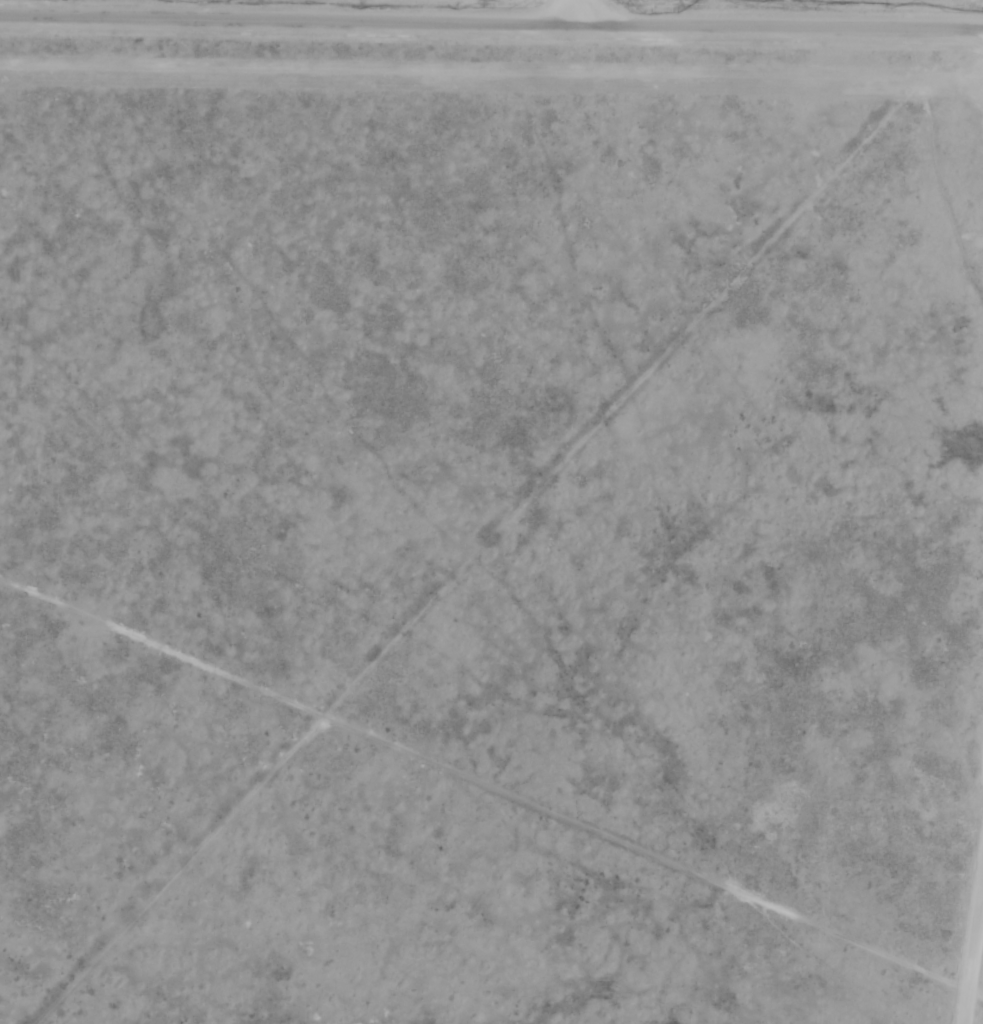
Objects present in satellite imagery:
road: (576, 14)
road: (491, 27)

